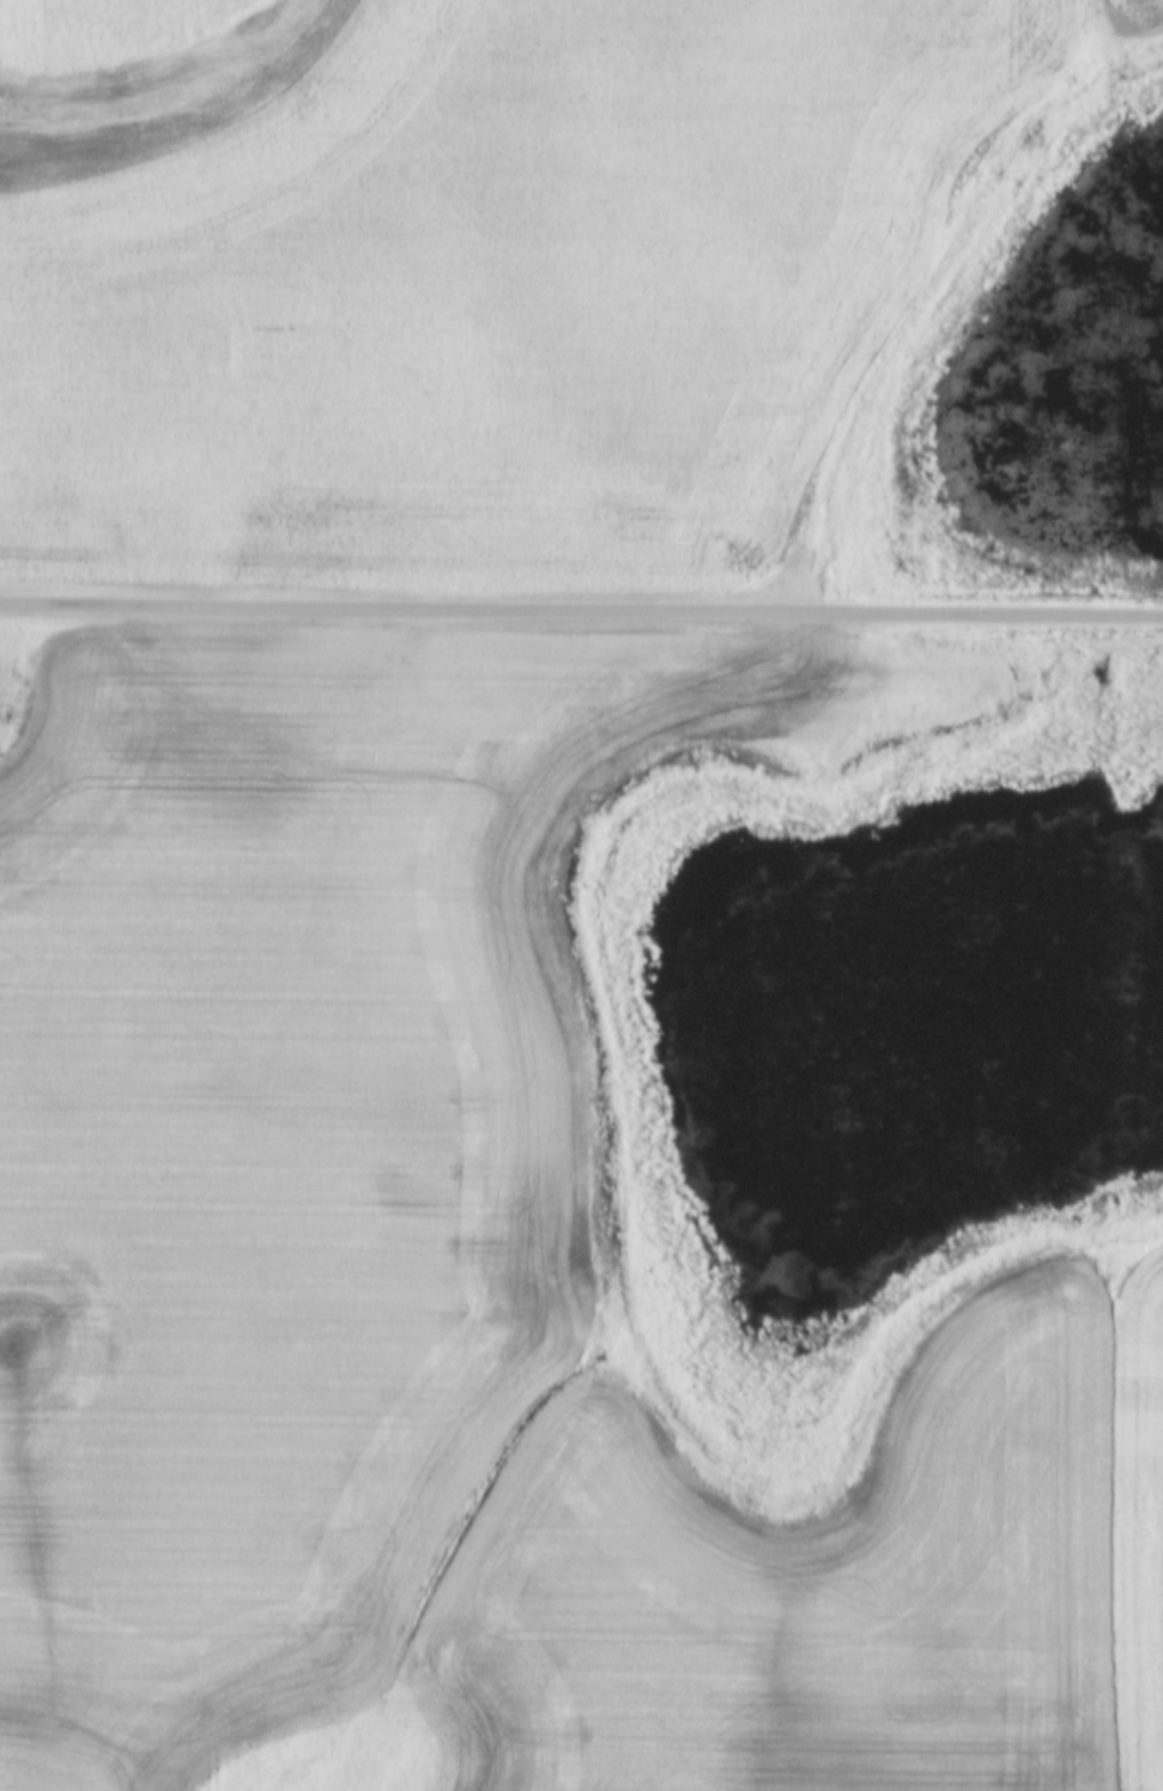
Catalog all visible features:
road: (581, 612)

